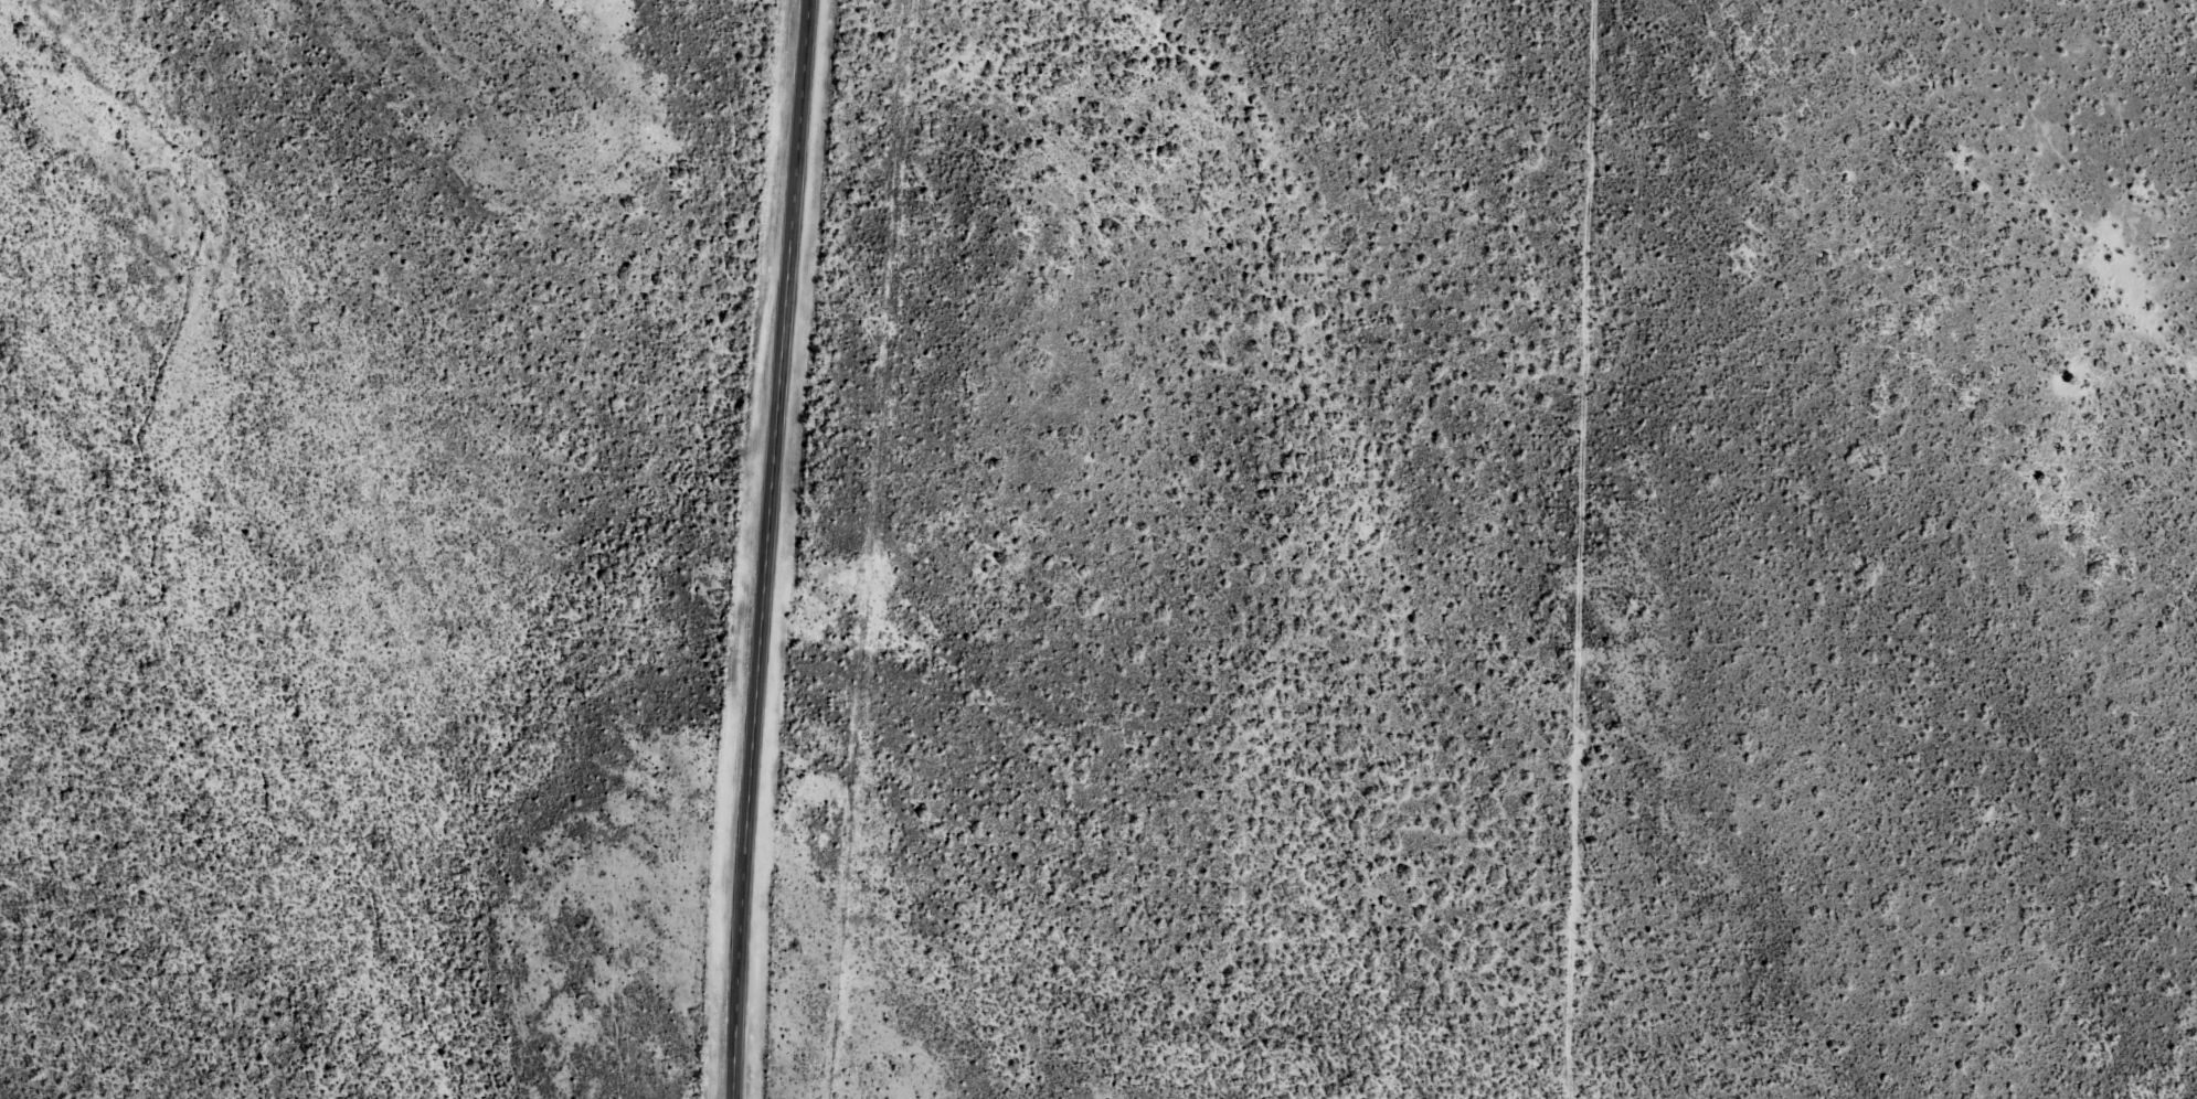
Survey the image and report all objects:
road: (768, 548)

